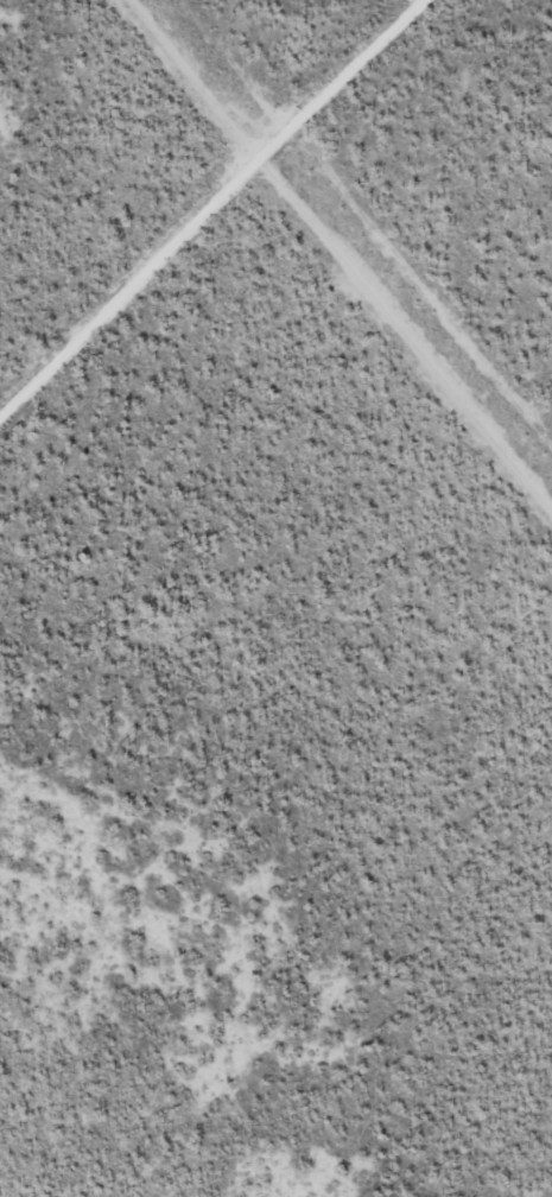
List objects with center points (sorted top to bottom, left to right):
road: (231, 222)

